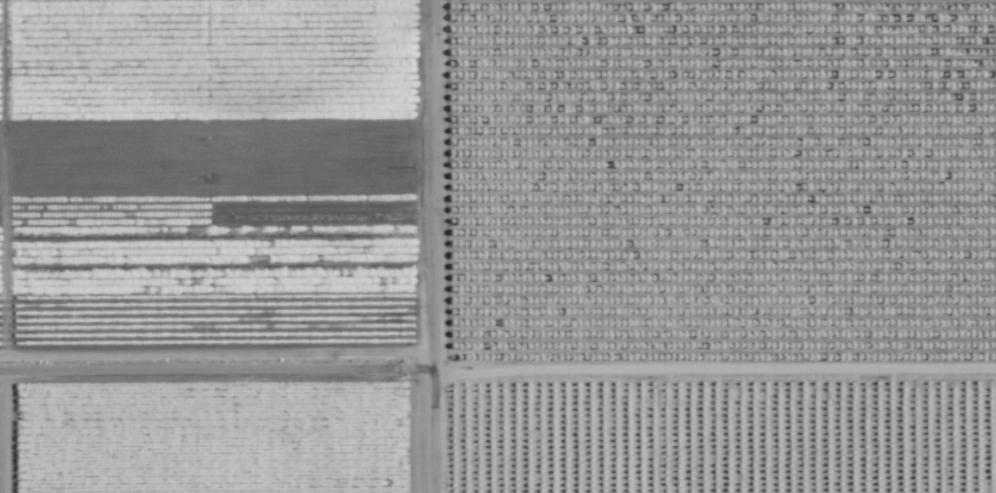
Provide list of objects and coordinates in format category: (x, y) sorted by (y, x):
road: (432, 246)
crop: (498, 246)
road: (497, 374)

